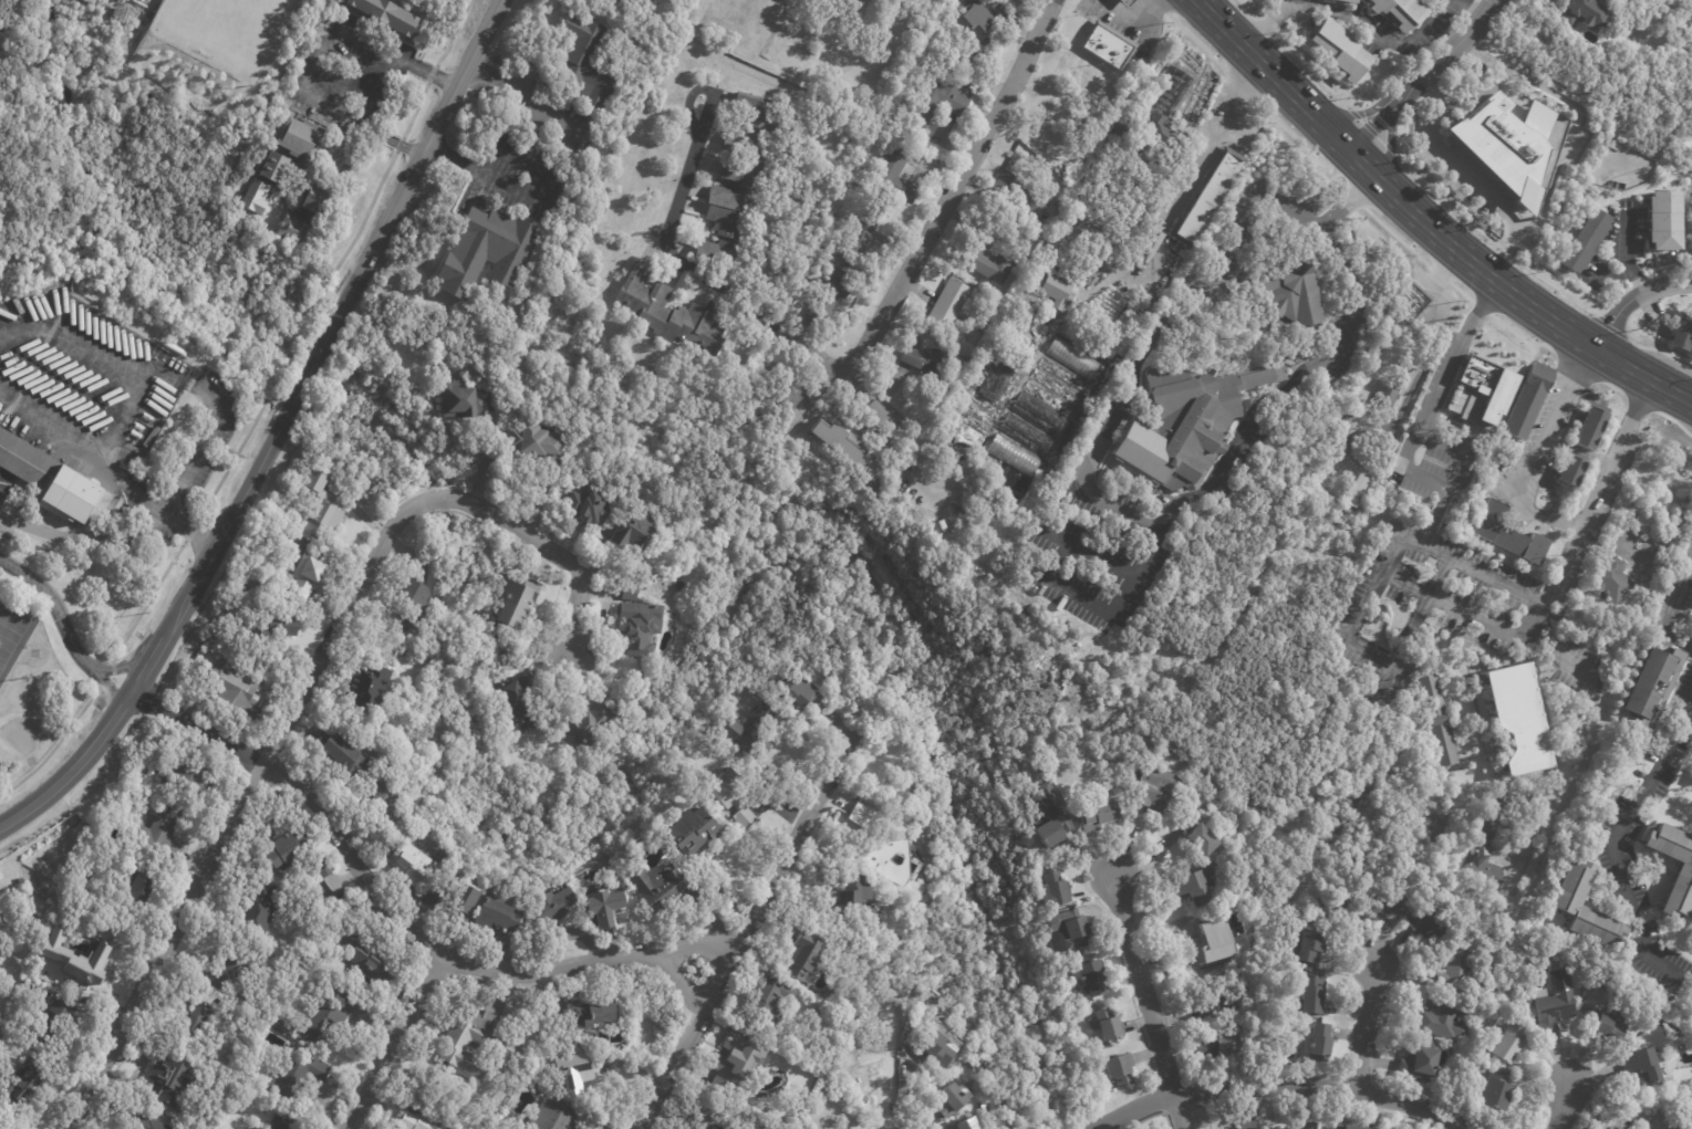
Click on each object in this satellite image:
building: (1342, 1)
building: (625, 2)
building: (1125, 2)
gas station: (1132, 2)
building: (1003, 8)
road: (1468, 10)
building: (1398, 11)
building: (387, 15)
road: (1128, 15)
building: (1581, 15)
road: (1357, 22)
building: (983, 23)
road: (1260, 25)
park: (227, 31)
building: (1107, 48)
building: (1338, 51)
road: (318, 60)
building: (589, 60)
road: (347, 75)
road: (1425, 76)
building: (1164, 90)
road: (381, 93)
road: (522, 93)
road: (1257, 93)
building: (941, 101)
building: (1112, 126)
building: (1158, 135)
building: (302, 142)
building: (1504, 149)
road: (421, 150)
road: (1207, 153)
road: (1346, 164)
building: (274, 168)
road: (479, 173)
building: (897, 176)
building: (739, 180)
road: (1317, 188)
road: (956, 192)
building: (1026, 194)
building: (1202, 196)
building: (257, 198)
building: (315, 201)
road: (1278, 207)
road: (1333, 208)
road: (1245, 215)
road: (1542, 216)
building: (1662, 220)
road: (1425, 223)
building: (293, 229)
road: (667, 233)
building: (861, 237)
building: (1584, 241)
road: (1502, 249)
building: (488, 252)
road: (1628, 255)
building: (990, 266)
building: (1286, 289)
building: (832, 290)
building: (1060, 291)
road: (1632, 300)
building: (1415, 302)
building: (949, 307)
building: (673, 316)
road: (791, 333)
building: (1679, 339)
road: (312, 358)
building: (1073, 358)
building: (923, 367)
road: (164, 373)
building: (999, 377)
road: (59, 379)
road: (1132, 389)
building: (1485, 391)
road: (863, 393)
building: (1391, 396)
building: (463, 397)
building: (775, 399)
building: (1530, 400)
building: (1038, 416)
building: (1185, 420)
building: (1351, 420)
road: (1423, 420)
gas station: (143, 426)
building: (1591, 429)
building: (1026, 435)
building: (532, 439)
road: (1236, 445)
building: (849, 449)
road: (81, 450)
road: (1539, 451)
road: (1462, 452)
building: (1015, 456)
building: (27, 461)
building: (1576, 472)
building: (881, 489)
building: (1359, 490)
building: (69, 495)
building: (322, 506)
building: (589, 508)
parking lot: (20, 518)
road: (29, 523)
building: (1641, 523)
road: (188, 526)
building: (633, 533)
building: (1509, 534)
road: (1572, 539)
road: (544, 545)
road: (1091, 552)
road: (1389, 564)
building: (312, 573)
building: (1037, 573)
building: (1035, 581)
building: (1610, 582)
building: (520, 597)
road: (56, 602)
building: (414, 602)
road: (1670, 618)
building: (281, 625)
building: (640, 628)
park: (12, 635)
road: (162, 637)
road: (124, 665)
road: (1390, 665)
road: (94, 670)
building: (373, 682)
building: (236, 684)
building: (799, 690)
building: (1638, 691)
road: (110, 693)
building: (522, 700)
building: (1518, 719)
building: (1443, 721)
building: (590, 725)
building: (750, 733)
building: (1151, 743)
building: (350, 753)
building: (187, 774)
building: (1159, 787)
building: (735, 795)
building: (384, 796)
road: (243, 806)
building: (1100, 815)
building: (861, 816)
building: (1050, 818)
building: (644, 825)
building: (694, 829)
building: (1196, 833)
building: (866, 837)
building: (158, 840)
building: (290, 847)
road: (1619, 849)
building: (889, 855)
building: (446, 857)
building: (411, 861)
building: (323, 866)
building: (1680, 882)
building: (1192, 885)
building: (666, 887)
building: (1055, 888)
building: (137, 889)
building: (456, 898)
building: (853, 898)
building: (1336, 900)
building: (609, 903)
building: (1390, 905)
building: (1581, 906)
building: (557, 907)
building: (258, 908)
building: (499, 916)
road: (392, 919)
building: (1422, 926)
road: (746, 927)
building: (1070, 931)
building: (1212, 942)
building: (1302, 950)
building: (807, 954)
building: (73, 956)
building: (370, 958)
building: (1452, 973)
building: (229, 975)
building: (1094, 976)
road: (677, 981)
building: (776, 997)
building: (1307, 997)
road: (1145, 1001)
building: (1551, 1004)
building: (592, 1011)
building: (326, 1016)
building: (1441, 1018)
building: (197, 1020)
building: (1110, 1023)
building: (59, 1024)
road: (1364, 1024)
building: (284, 1025)
building: (1608, 1026)
road: (399, 1043)
building: (1317, 1043)
building: (1506, 1044)
building: (500, 1045)
building: (938, 1046)
building: (1215, 1050)
building: (737, 1062)
building: (1419, 1063)
building: (1638, 1066)
building: (1125, 1069)
building: (578, 1070)
building: (297, 1076)
building: (173, 1078)
building: (871, 1078)
building: (24, 1081)
road: (1288, 1084)
building: (1493, 1093)
building: (955, 1099)
road: (1565, 1110)
building: (557, 1116)
building: (287, 1121)
building: (417, 1121)
building: (974, 1121)
building: (147, 1122)
building: (1252, 1125)
building: (1306, 1125)
building: (1690, 1125)
road: (1101, 1126)
building: (1346, 1126)
building: (686, 1127)
building: (694, 1127)
building: (718, 1127)
building: (252, 1128)
building: (256, 1128)
building: (713, 1128)
building: (1281, 1128)
building: (1674, 1128)

